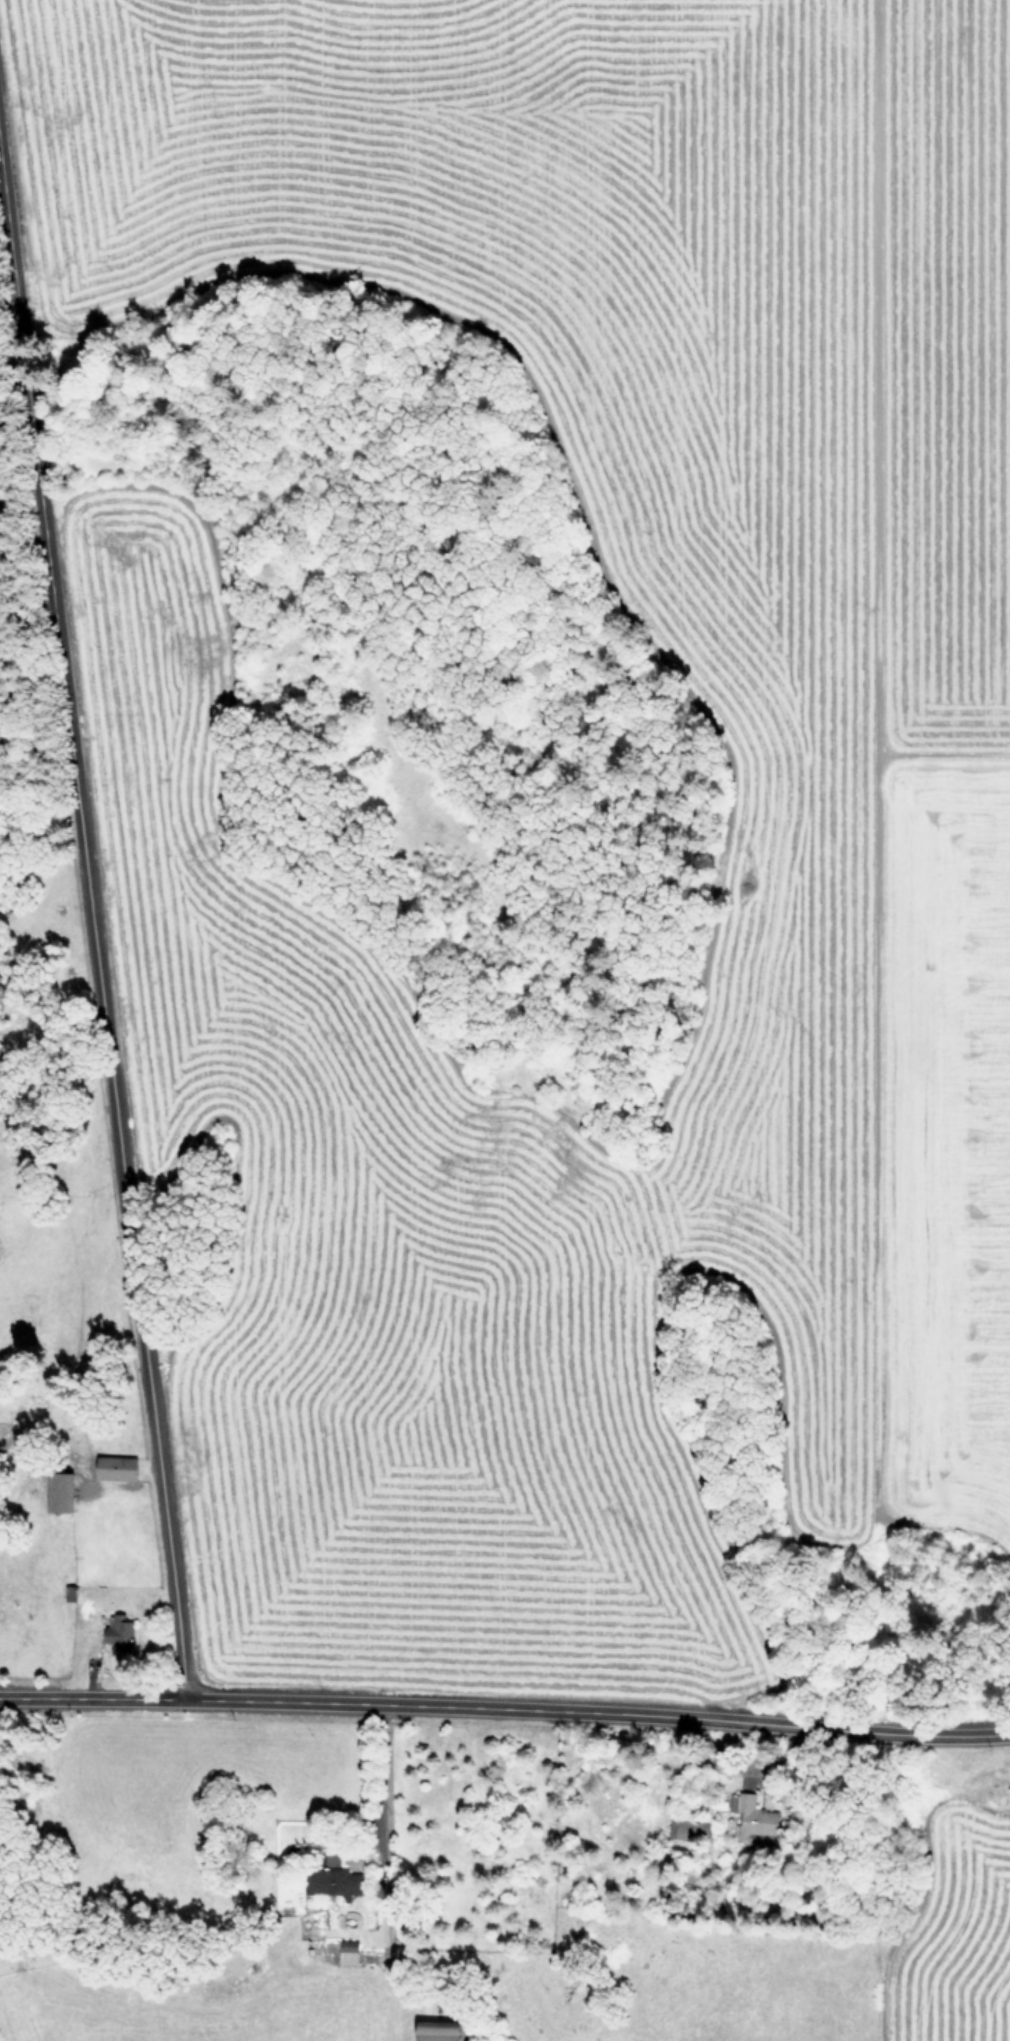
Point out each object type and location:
road: (8, 247)
crop: (847, 942)
road: (99, 1005)
building: (111, 1467)
building: (54, 1491)
building: (117, 1632)
road: (91, 1697)
road: (540, 1708)
road: (954, 1733)
road: (374, 1779)
building: (755, 1817)
building: (330, 1882)
building: (346, 1951)
crop: (817, 1954)
crop: (0, 2040)

